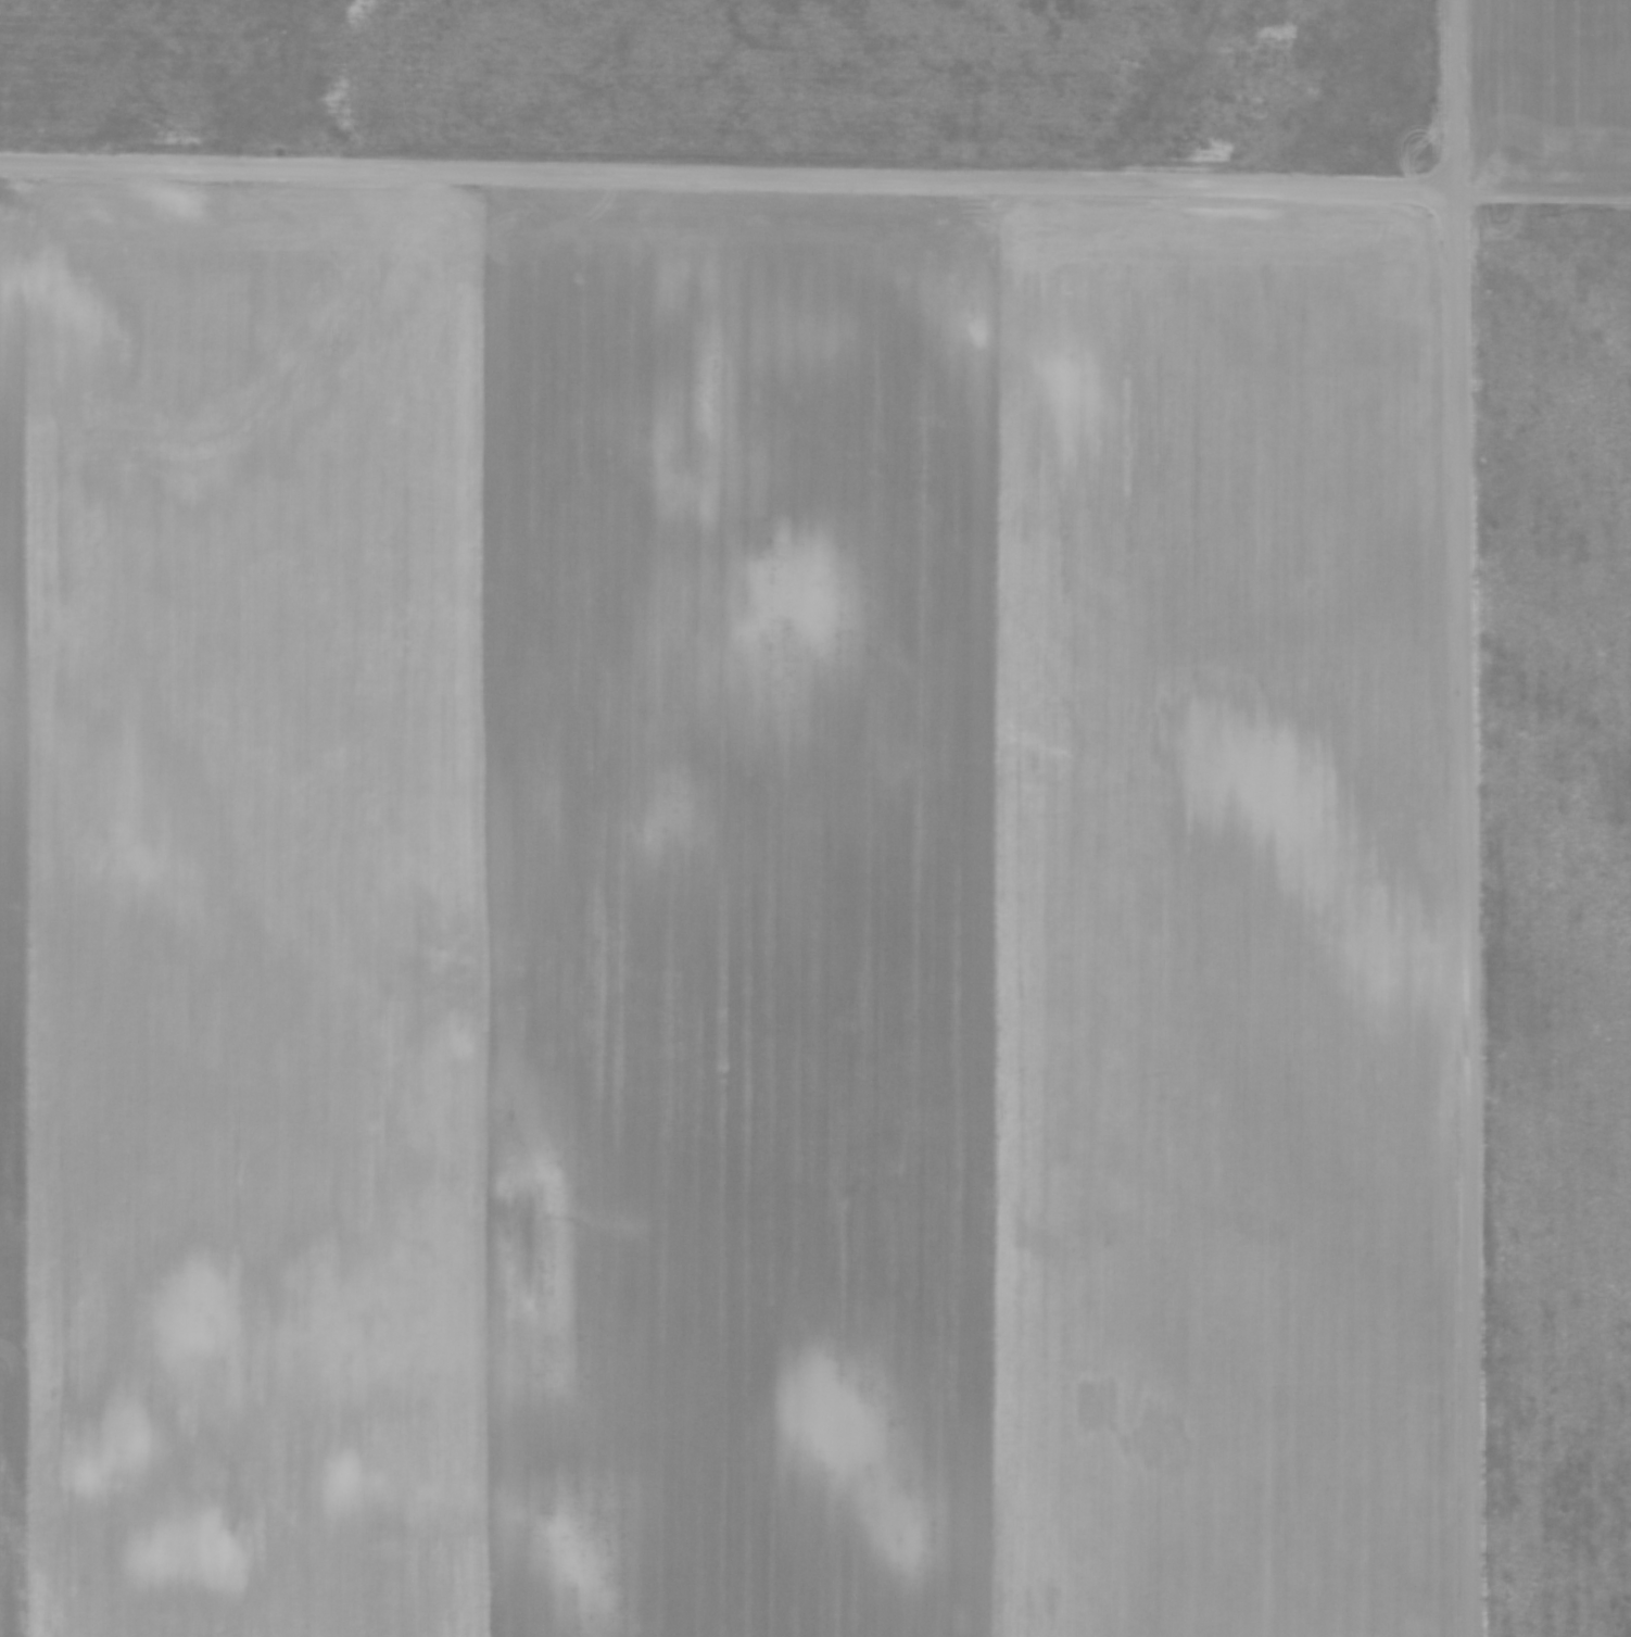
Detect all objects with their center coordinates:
road: (815, 174)
crop: (1556, 809)
road: (1465, 818)
crop: (719, 916)

